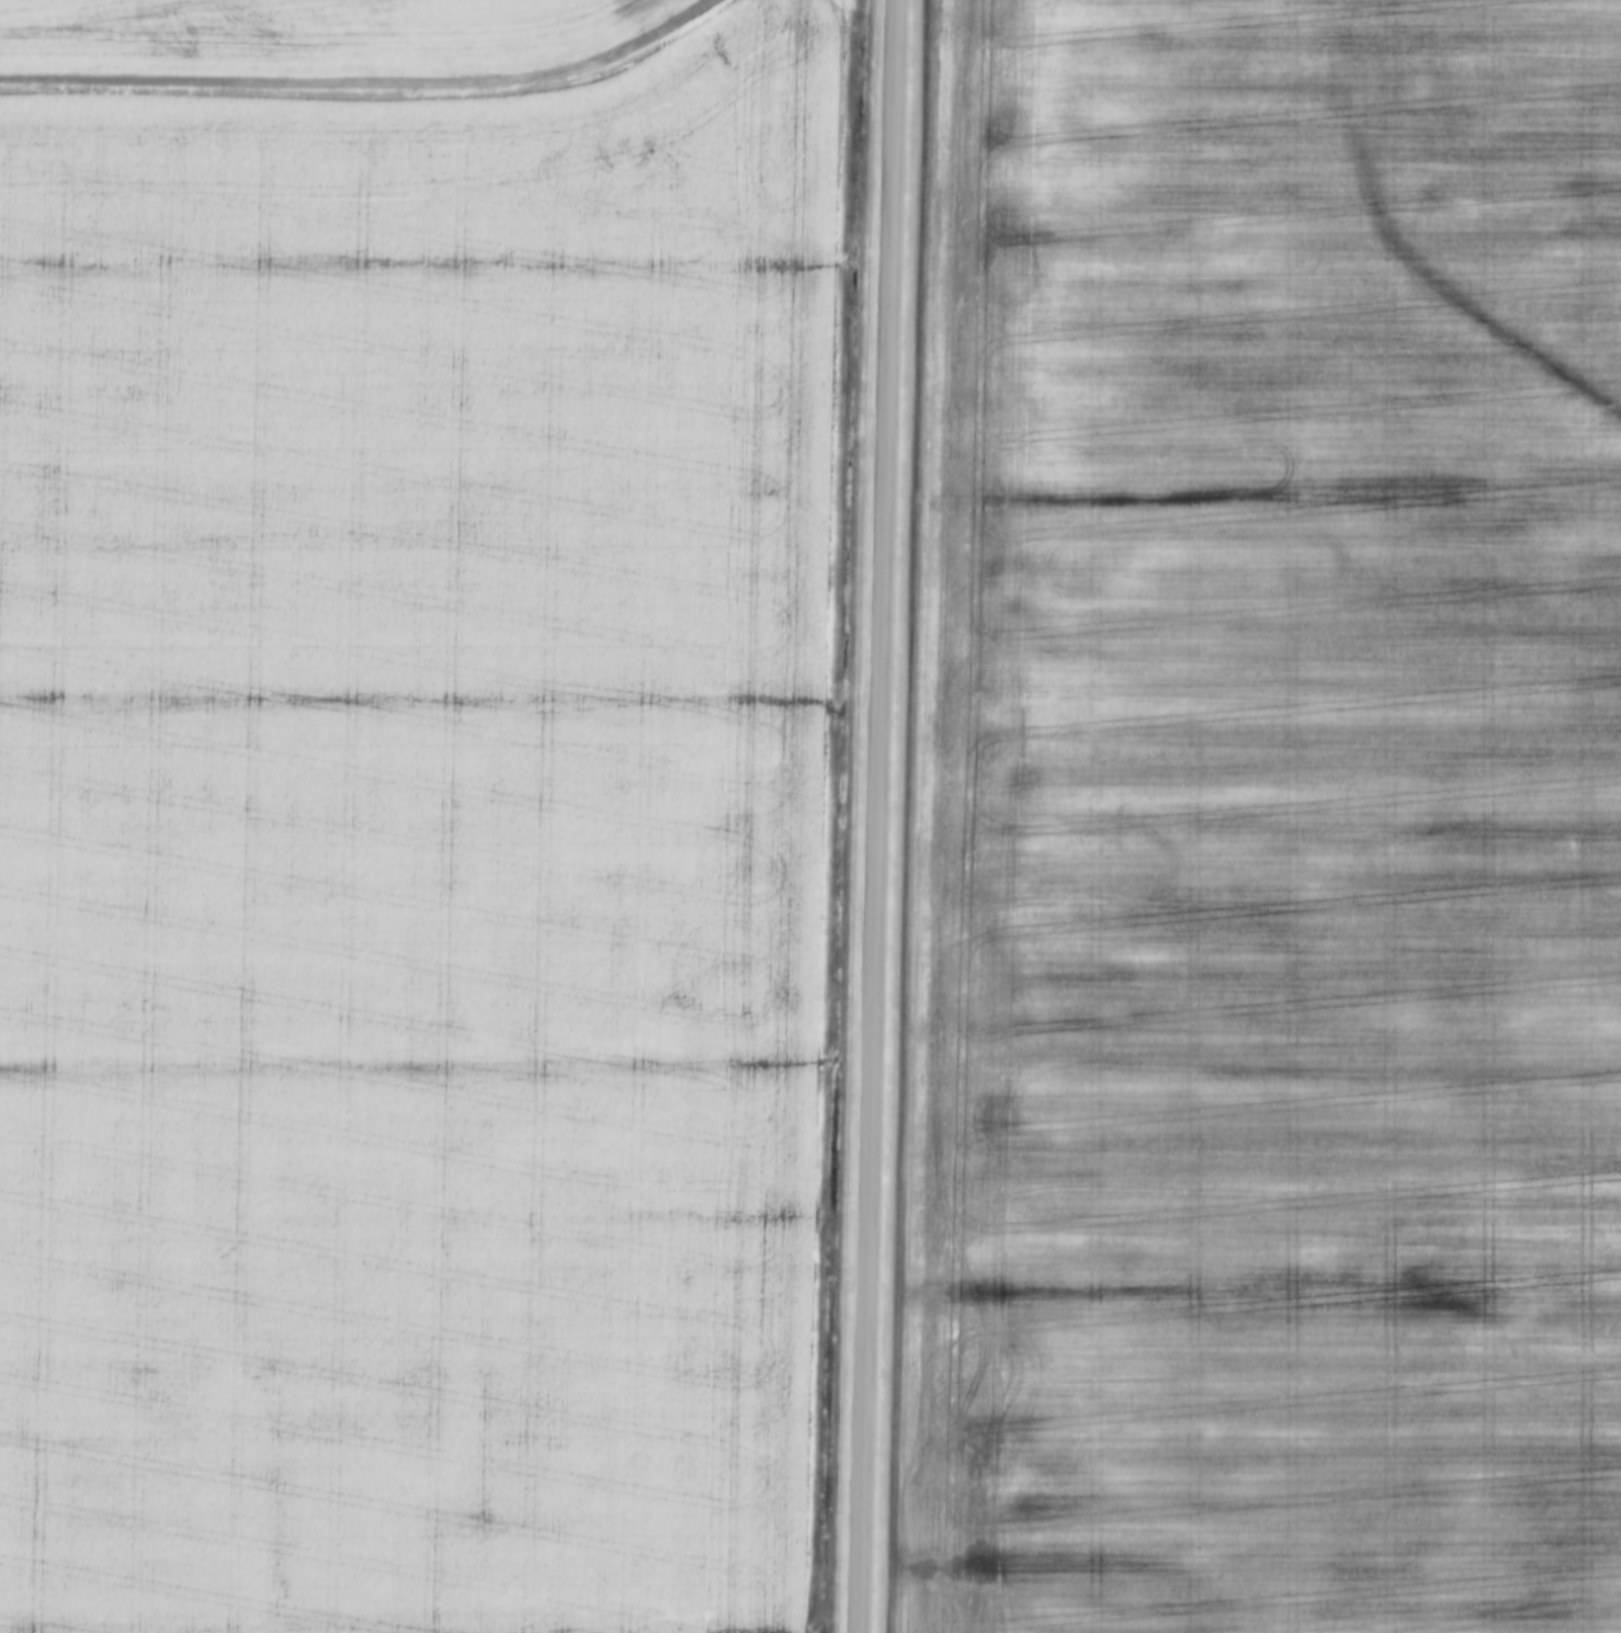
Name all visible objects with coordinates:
crop: (307, 36)
road: (363, 87)
road: (877, 816)
crop: (1266, 824)
crop: (421, 847)

